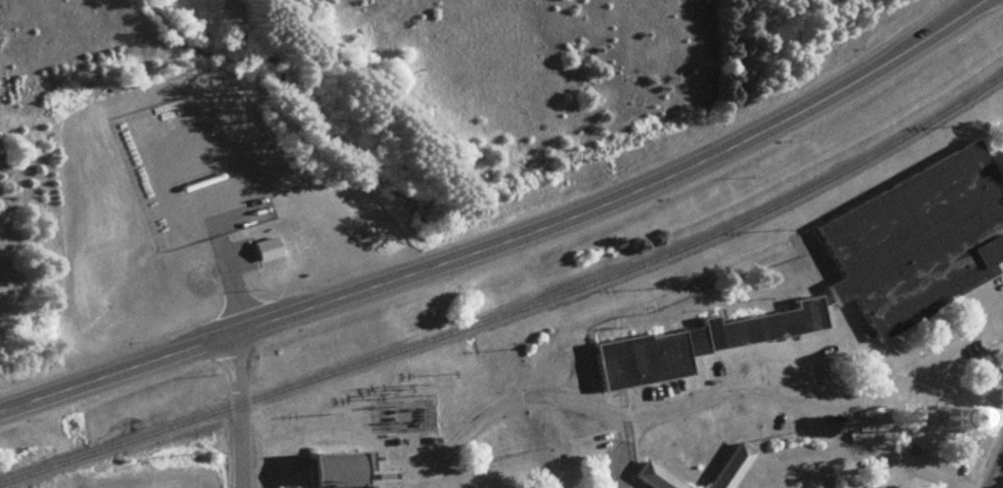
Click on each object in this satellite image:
building: (914, 236)
road: (502, 238)
railway: (514, 306)
building: (690, 341)
road: (923, 362)
road: (676, 402)
road: (239, 409)
water tower: (941, 416)
road: (994, 466)
building: (329, 467)

